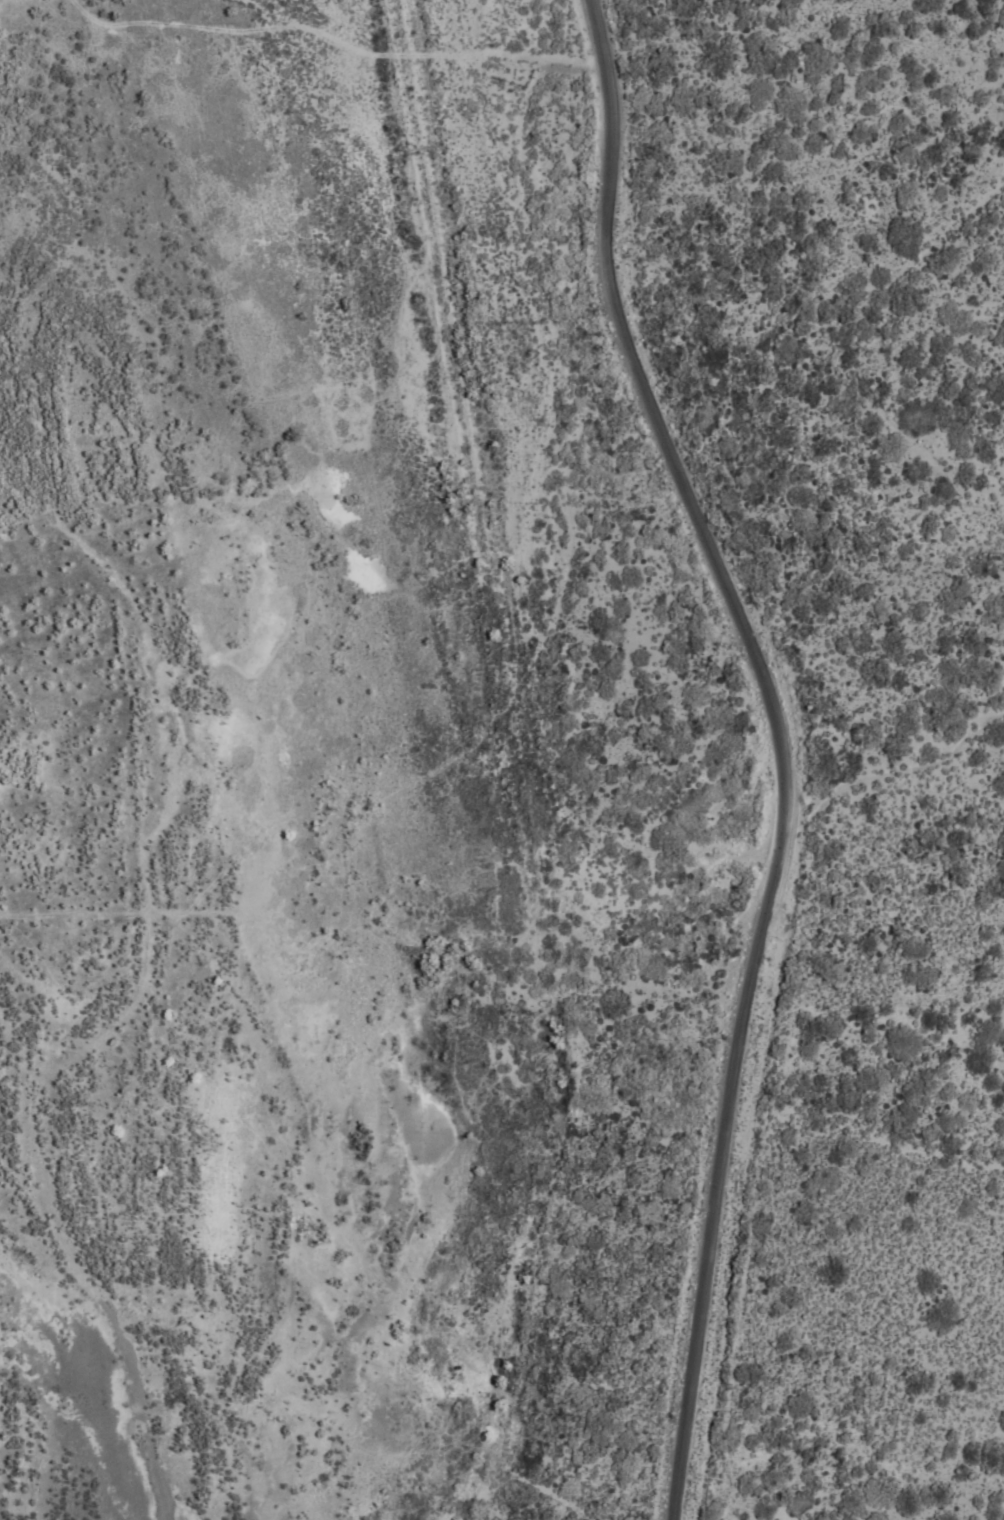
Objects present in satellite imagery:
road: (760, 750)

